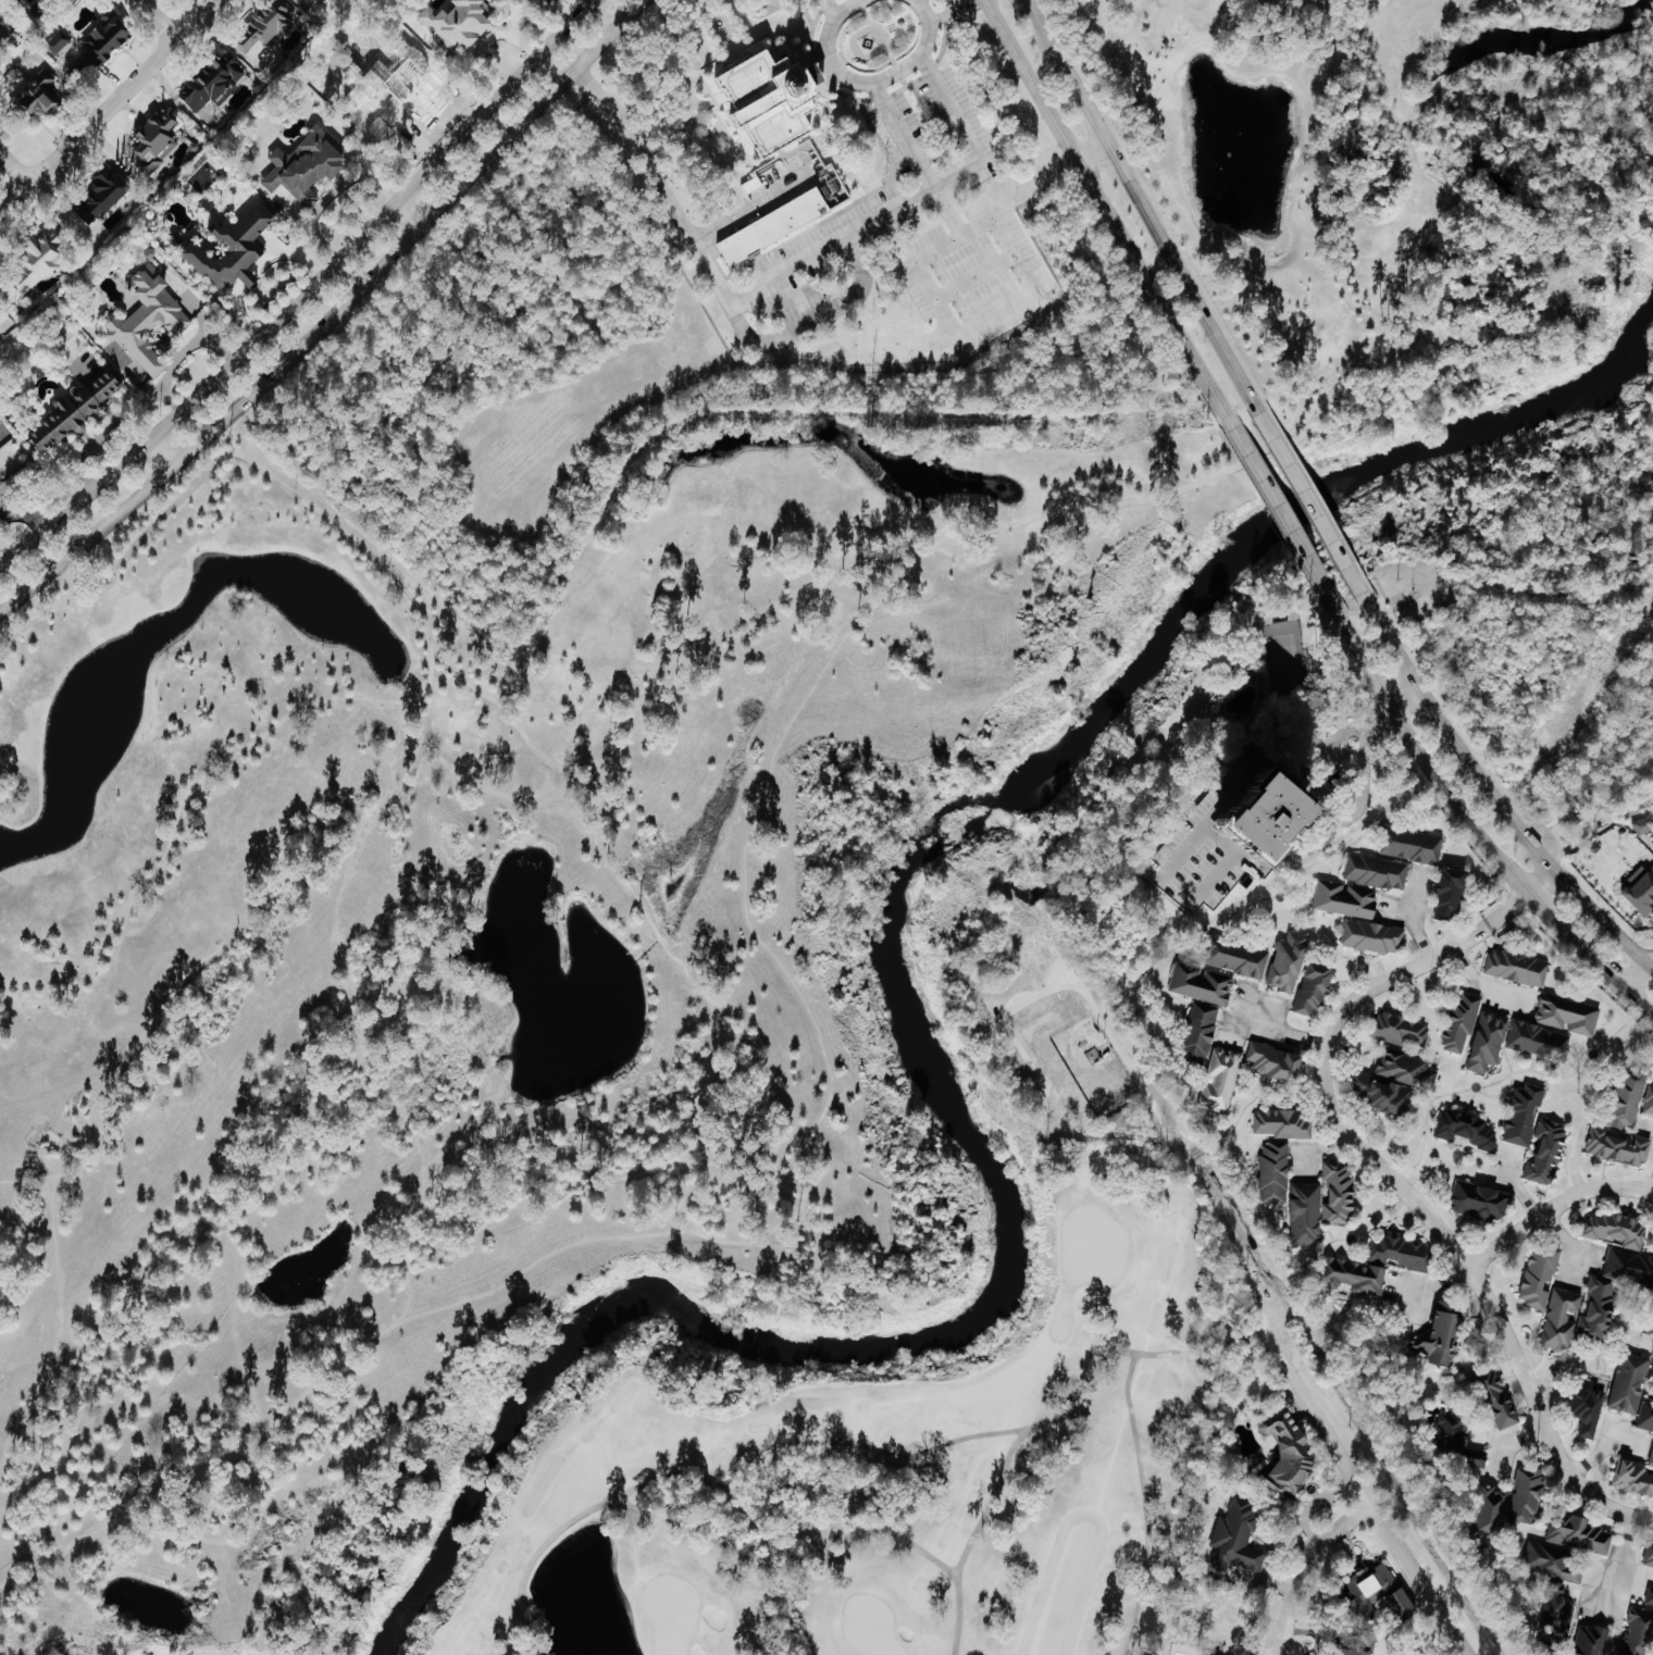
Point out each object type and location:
building: (313, 0)
building: (302, 1)
building: (550, 1)
road: (845, 5)
road: (961, 5)
road: (1035, 12)
road: (941, 17)
road: (157, 20)
building: (462, 22)
building: (270, 25)
building: (8, 34)
building: (108, 38)
building: (58, 42)
road: (898, 70)
road: (586, 78)
building: (215, 82)
road: (873, 84)
building: (41, 92)
building: (771, 101)
road: (949, 105)
road: (109, 108)
building: (157, 142)
road: (1093, 152)
road: (17, 162)
building: (308, 165)
building: (105, 194)
road: (750, 208)
road: (1103, 209)
road: (947, 211)
road: (412, 212)
road: (1148, 212)
road: (1172, 212)
building: (774, 226)
building: (236, 247)
building: (40, 262)
road: (787, 271)
road: (1032, 284)
road: (306, 295)
road: (332, 316)
building: (149, 319)
road: (747, 331)
building: (75, 411)
road: (97, 443)
road: (153, 458)
road: (1314, 506)
road: (25, 513)
road: (655, 521)
road: (1285, 522)
road: (810, 582)
road: (873, 596)
road: (1396, 648)
road: (1404, 697)
road: (1443, 720)
road: (523, 734)
road: (401, 755)
road: (381, 762)
road: (1425, 768)
road: (1399, 787)
road: (191, 791)
road: (1509, 813)
building: (1306, 817)
road: (1190, 818)
building: (1644, 825)
building: (1414, 844)
road: (1541, 881)
building: (1362, 885)
building: (1453, 894)
road: (1507, 909)
road: (1414, 914)
road: (1604, 919)
road: (655, 925)
building: (1374, 936)
road: (1576, 941)
building: (1238, 957)
building: (1290, 961)
building: (1519, 967)
road: (1639, 975)
building: (1203, 984)
road: (1484, 984)
building: (1316, 987)
road: (1639, 1001)
building: (1032, 1015)
building: (1569, 1015)
river: (921, 1017)
building: (1463, 1024)
road: (1279, 1029)
building: (1402, 1029)
building: (1203, 1032)
building: (1538, 1040)
building: (1490, 1043)
building: (1278, 1061)
building: (1407, 1069)
building: (1222, 1079)
road: (1140, 1081)
building: (1382, 1094)
building: (1650, 1104)
building: (1525, 1113)
building: (1285, 1123)
building: (1624, 1127)
building: (1468, 1129)
building: (1549, 1153)
road: (565, 1155)
building: (1276, 1172)
building: (1340, 1193)
building: (1481, 1200)
road: (1416, 1207)
road: (1554, 1211)
building: (1307, 1214)
building: (1619, 1230)
road: (688, 1233)
park: (1092, 1245)
building: (1378, 1265)
building: (1630, 1266)
building: (1541, 1278)
building: (1602, 1307)
building: (1563, 1319)
road: (53, 1322)
building: (1443, 1334)
road: (1159, 1354)
road: (1136, 1355)
building: (1631, 1382)
building: (1502, 1399)
road: (1080, 1405)
building: (1590, 1407)
building: (1646, 1416)
road: (1028, 1430)
building: (1459, 1442)
building: (1287, 1451)
building: (1652, 1463)
park: (888, 1469)
building: (1635, 1477)
road: (623, 1494)
road: (734, 1496)
road: (620, 1498)
road: (990, 1504)
road: (636, 1506)
road: (1380, 1509)
road: (812, 1532)
road: (223, 1534)
building: (1581, 1534)
building: (1234, 1536)
building: (1650, 1553)
road: (1625, 1563)
road: (954, 1569)
road: (1314, 1569)
building: (1385, 1588)
road: (785, 1595)
park: (669, 1615)
building: (1223, 1617)
park: (870, 1627)
building: (1640, 1629)
building: (1593, 1640)
road: (513, 1646)
building: (1358, 1652)
road: (511, 1653)
building: (1203, 1654)

